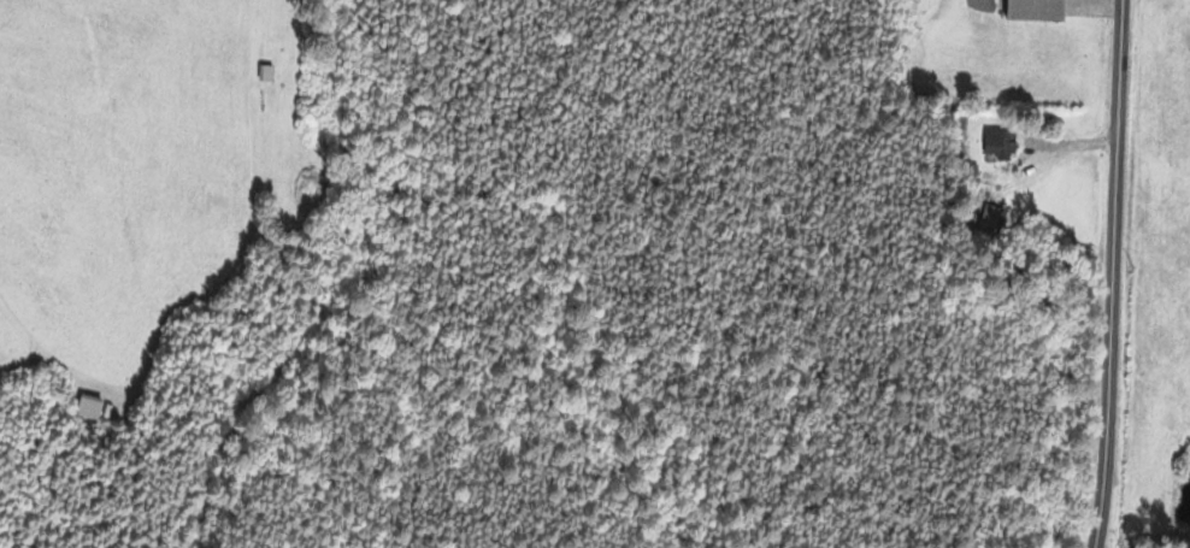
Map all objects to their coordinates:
building: (1044, 11)
building: (1002, 143)
road: (1118, 273)

